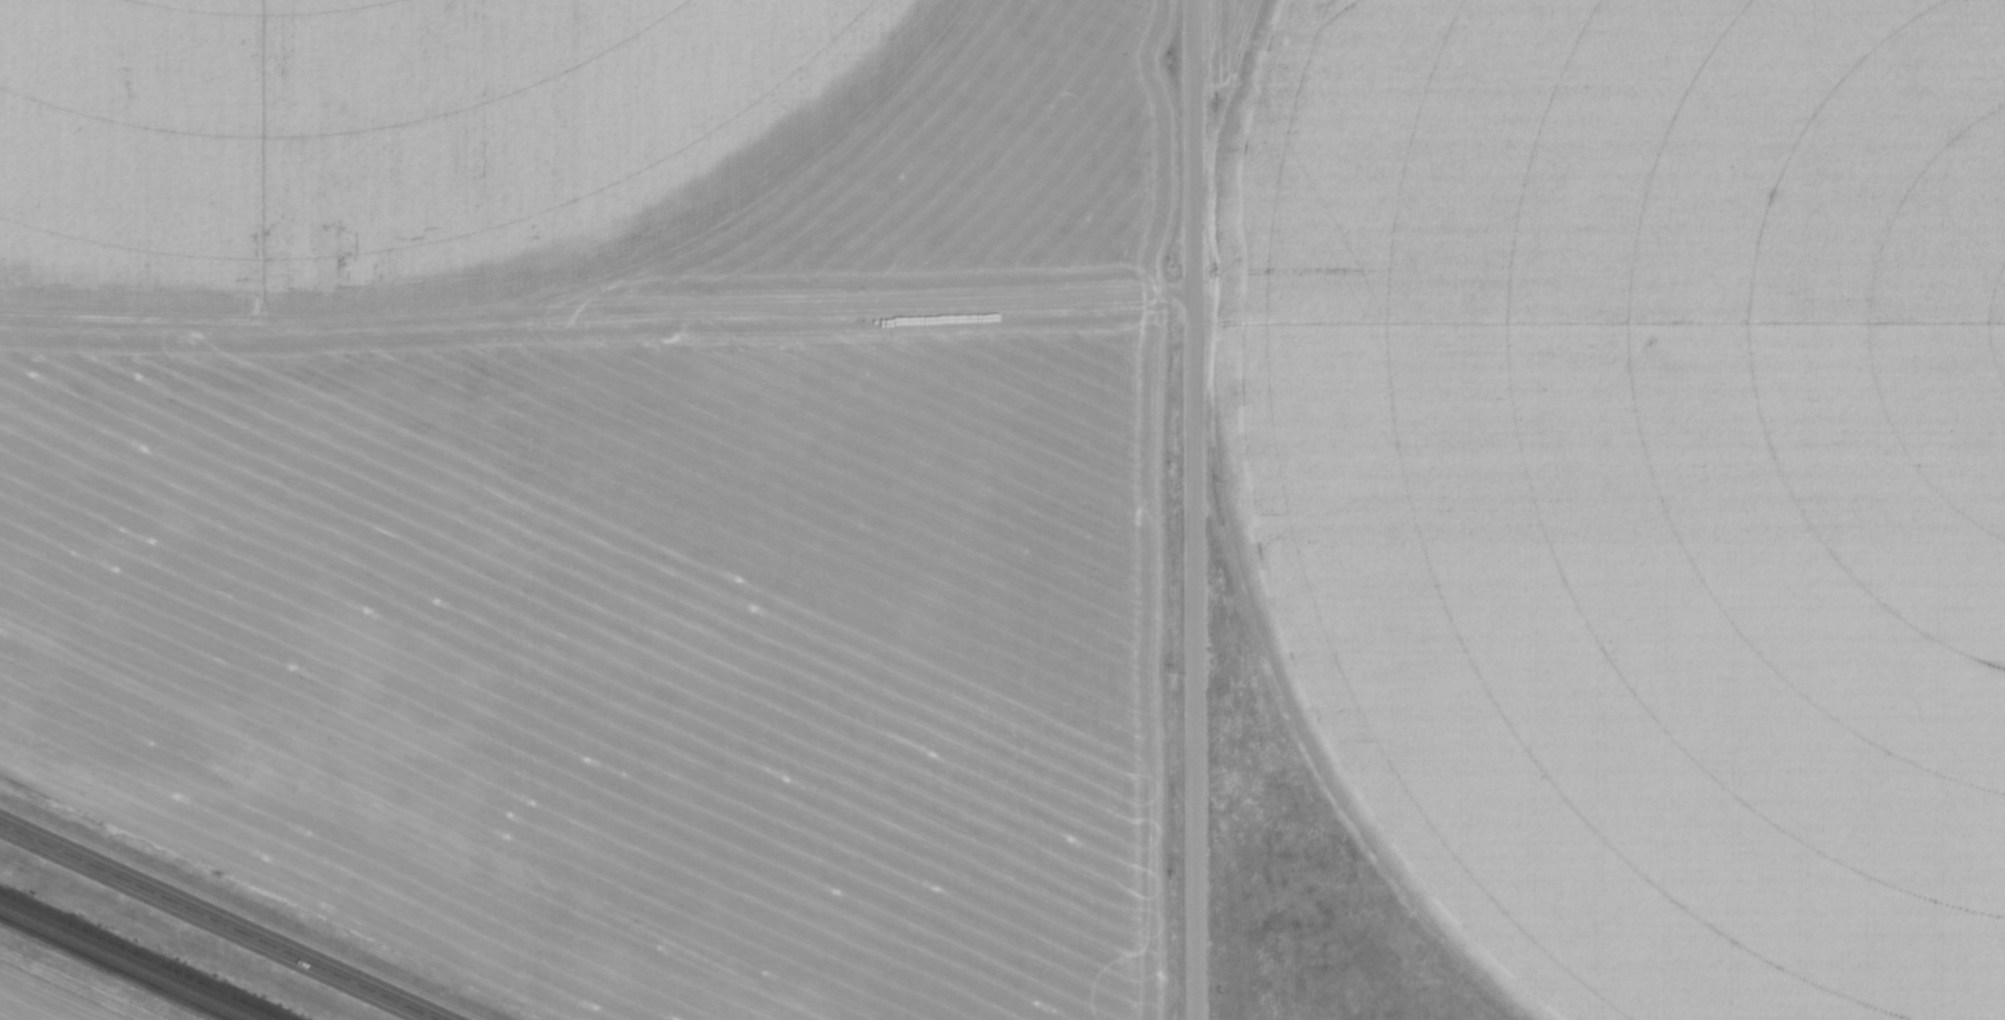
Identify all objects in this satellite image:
road: (1198, 509)
road: (222, 920)
railway: (145, 954)
railway: (128, 962)

